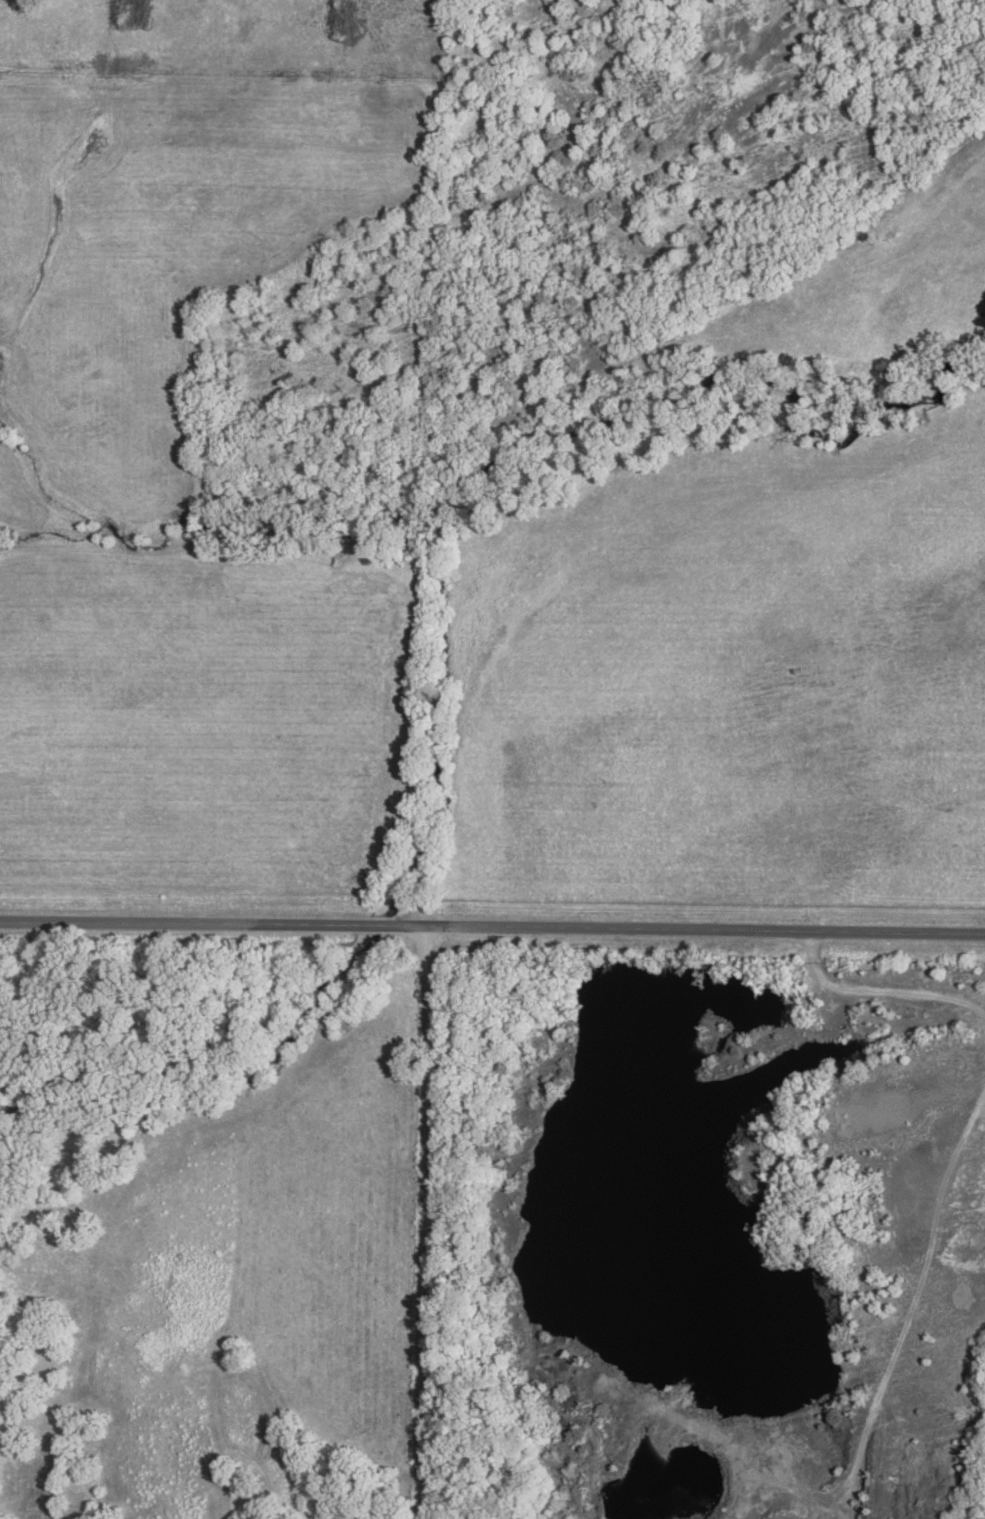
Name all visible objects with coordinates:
road: (492, 928)
road: (422, 1222)

